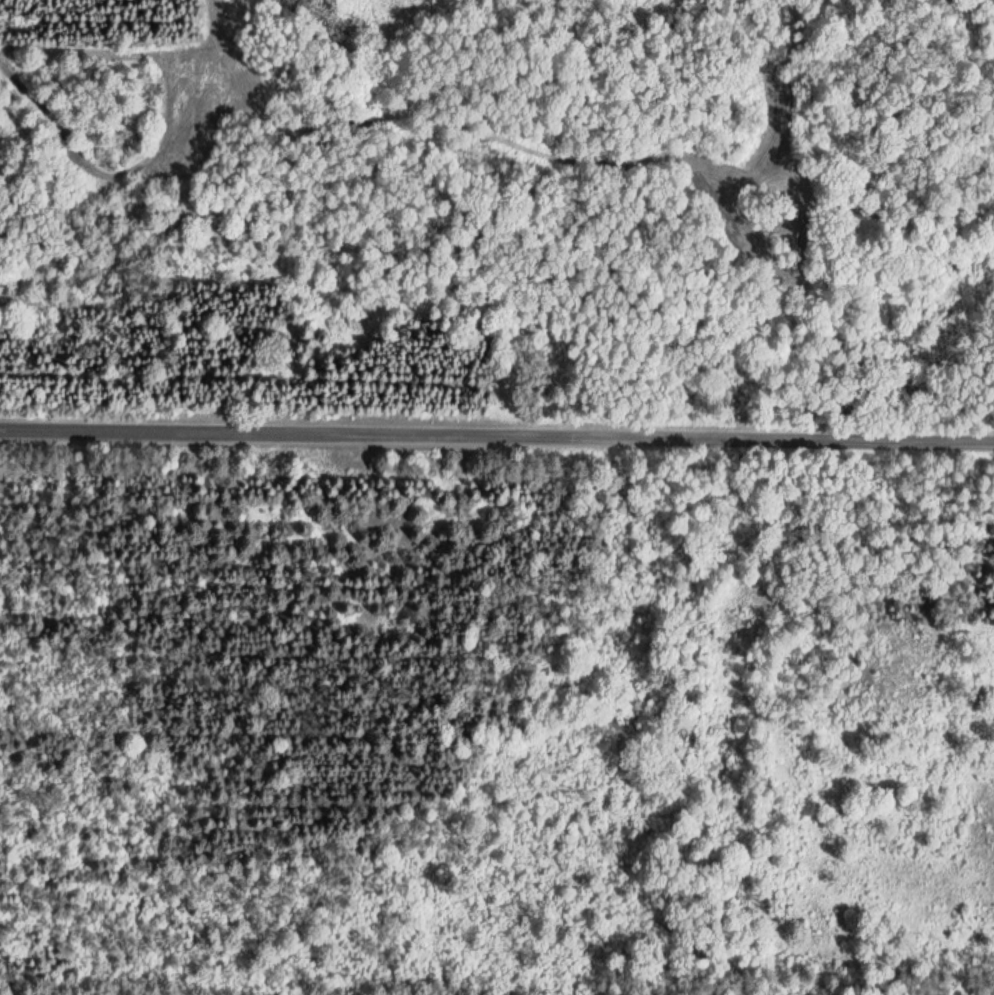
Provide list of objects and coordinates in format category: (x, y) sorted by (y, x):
road: (497, 431)

